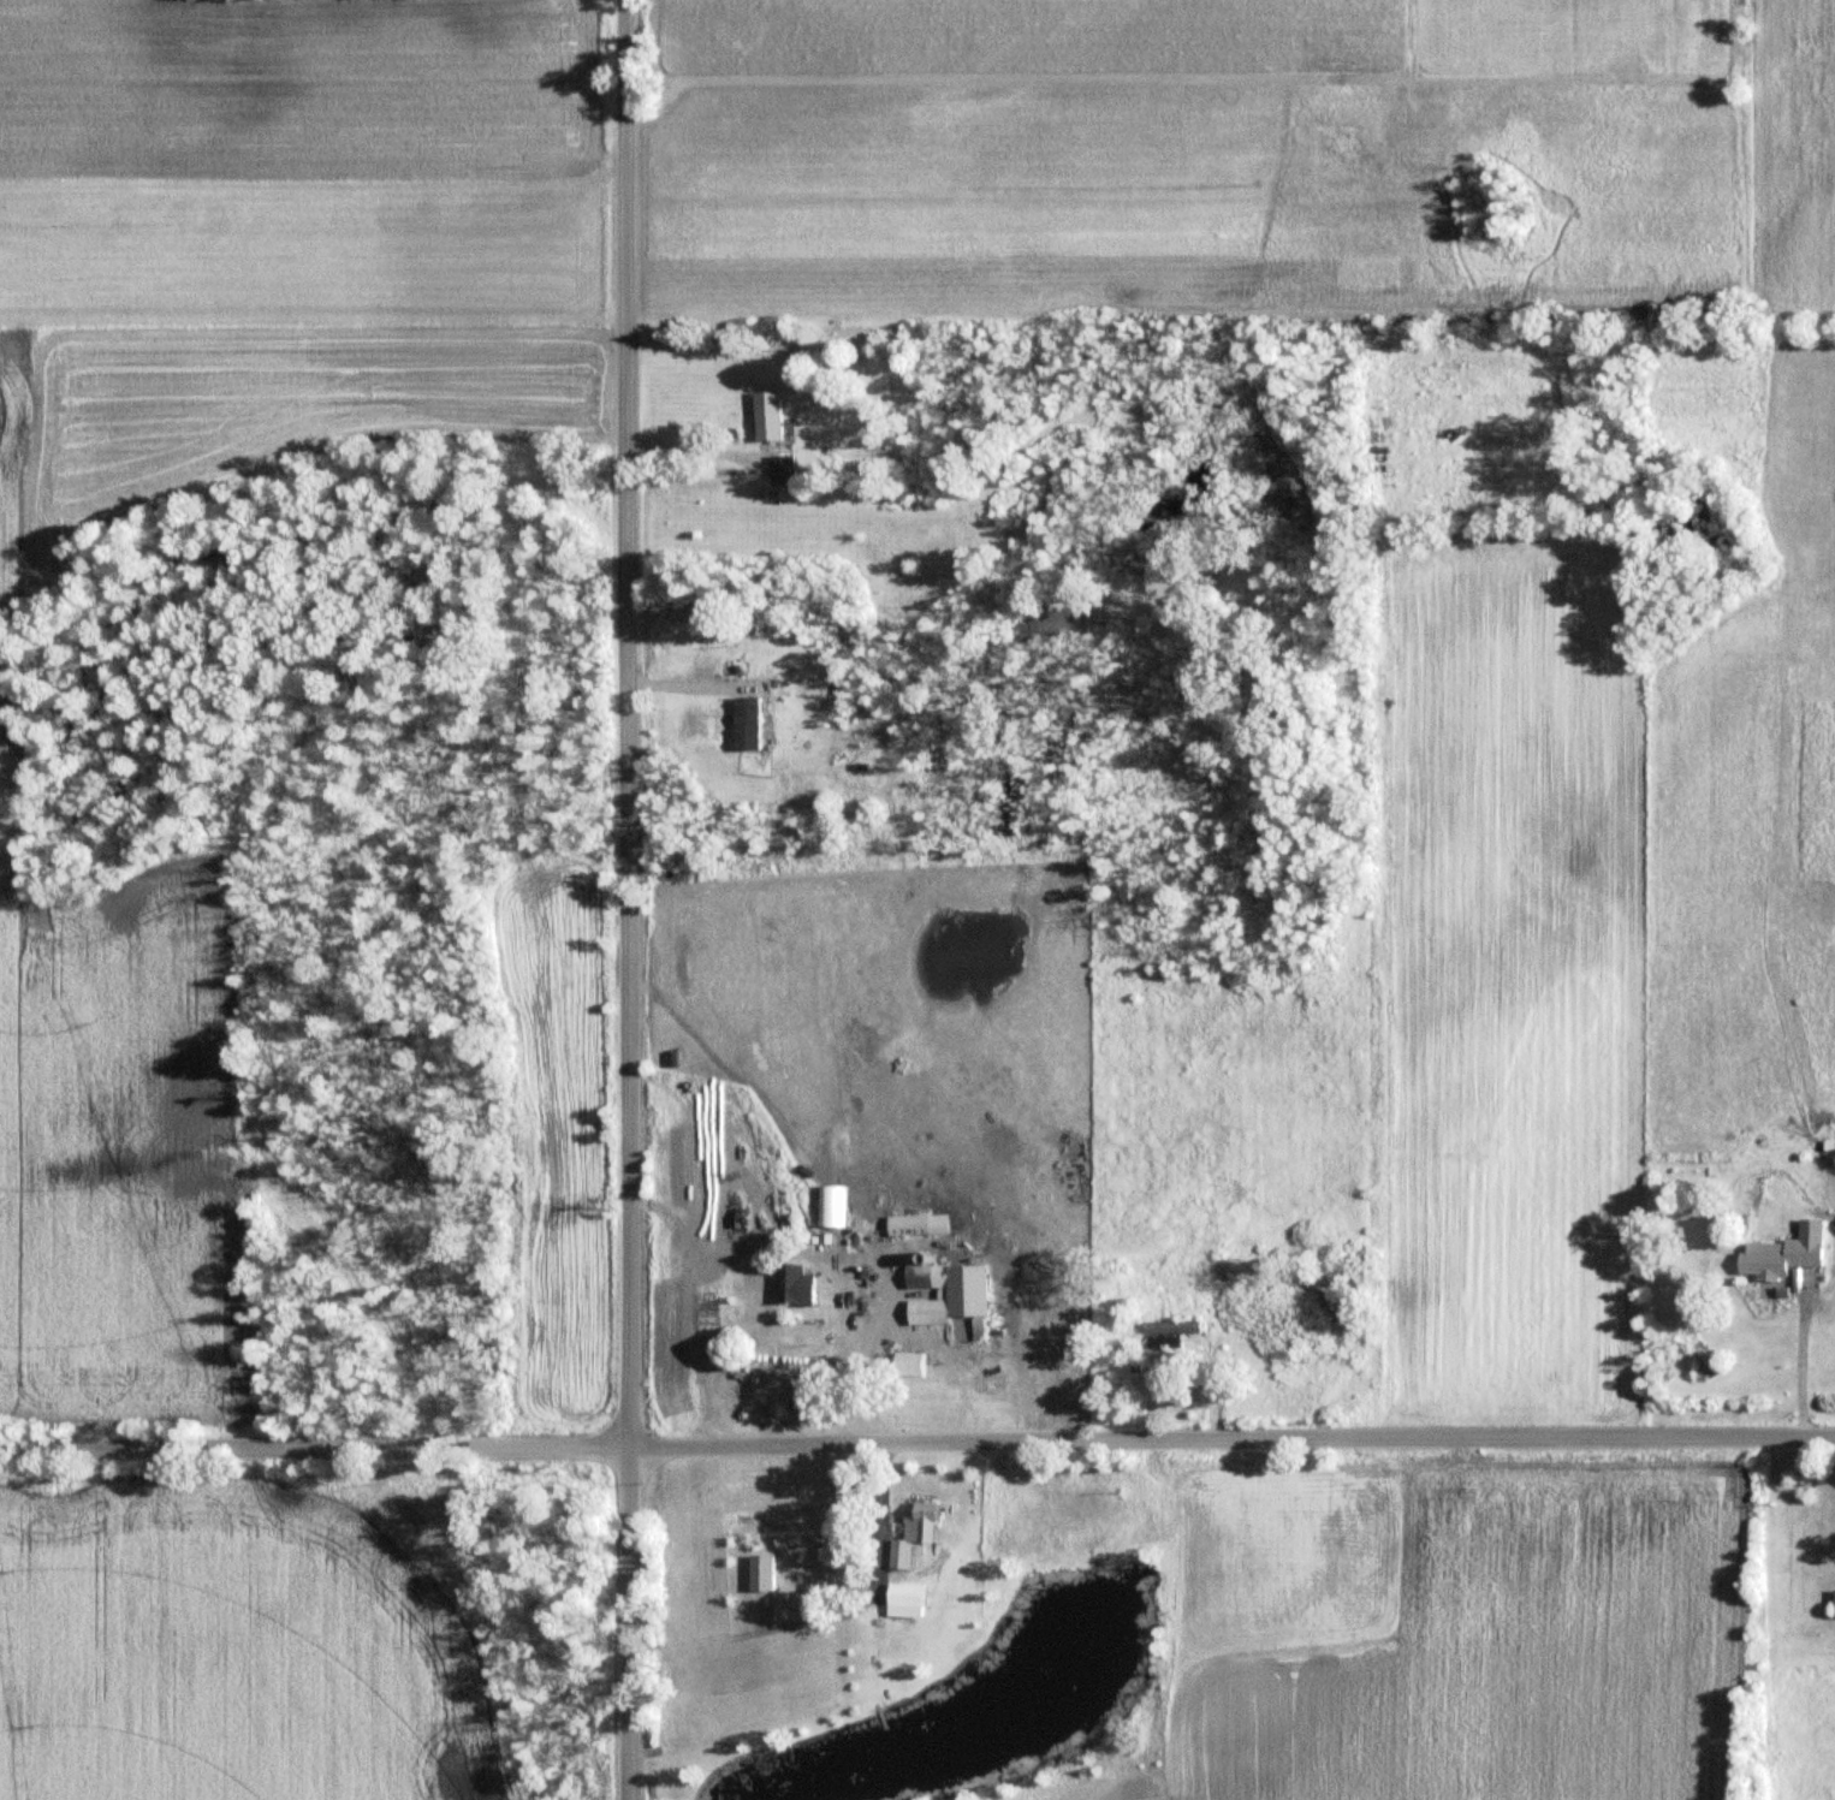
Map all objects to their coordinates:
building: (773, 416)
building: (786, 470)
road: (626, 723)
building: (752, 725)
building: (914, 1228)
building: (1780, 1253)
building: (801, 1288)
building: (975, 1303)
building: (936, 1313)
building: (1166, 1336)
building: (915, 1365)
road: (1798, 1365)
road: (917, 1443)
building: (921, 1538)
building: (767, 1574)
building: (914, 1597)
building: (1831, 1604)
road: (628, 1622)
road: (741, 1639)

